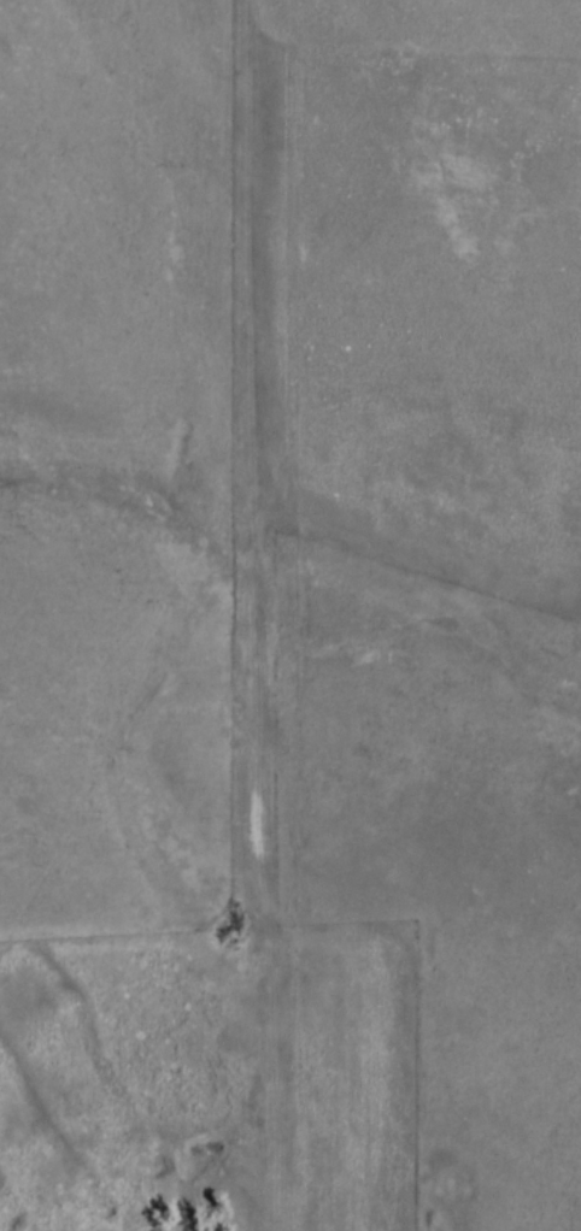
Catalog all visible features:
crop: (330, 1078)

